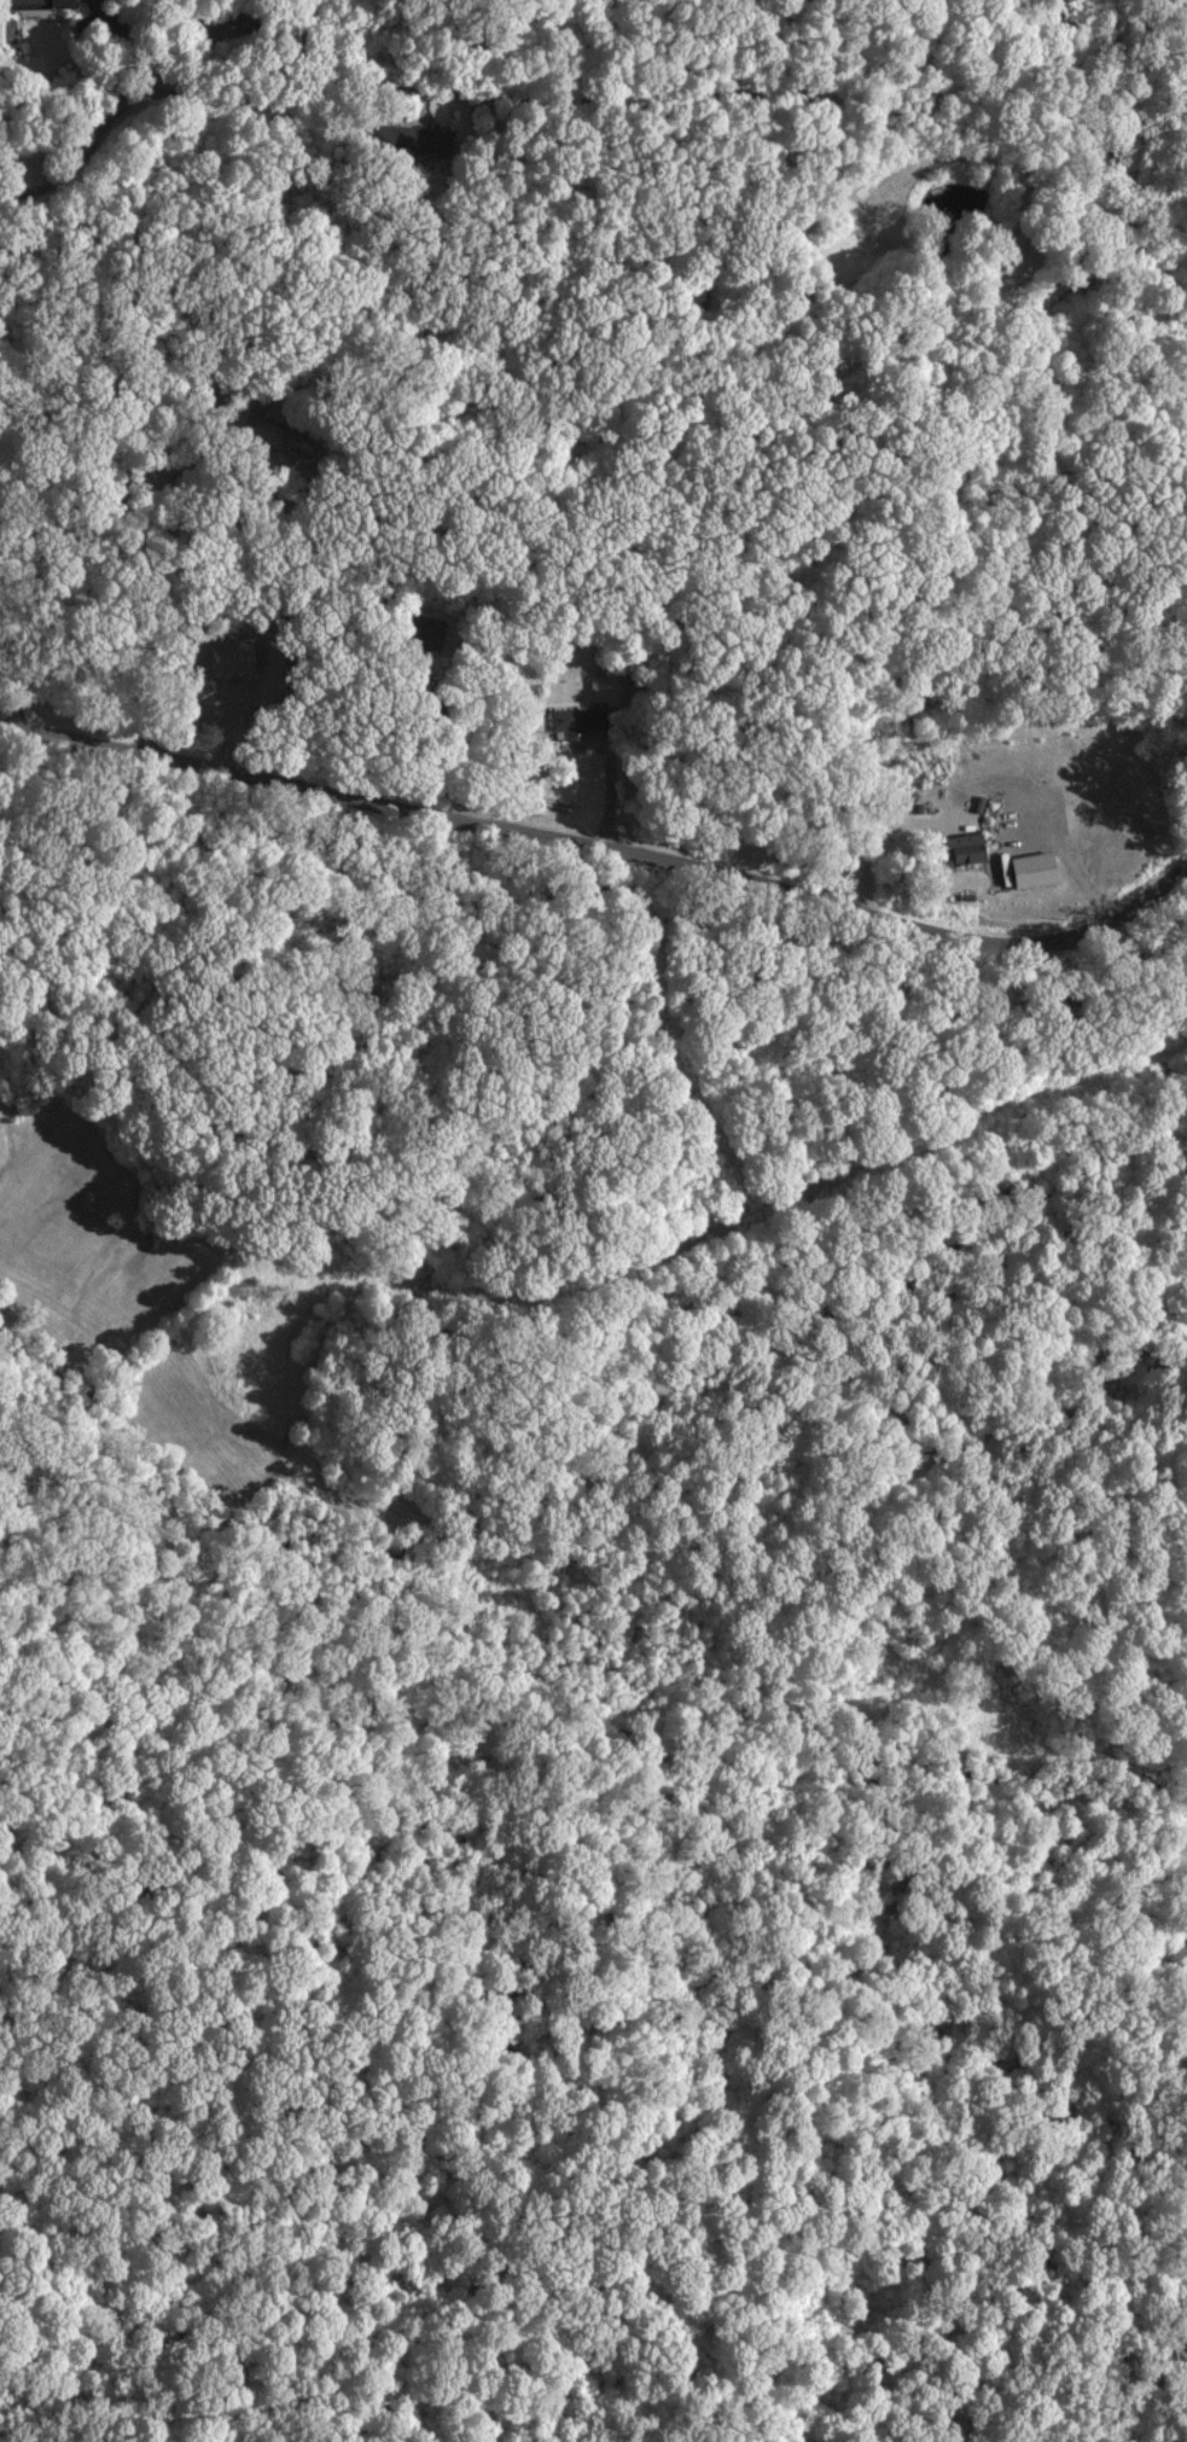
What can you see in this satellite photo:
building: (63, 4)
road: (379, 91)
building: (402, 138)
building: (267, 431)
road: (13, 680)
building: (609, 687)
building: (576, 720)
road: (425, 768)
road: (610, 797)
building: (964, 848)
road: (599, 857)
building: (1035, 868)

